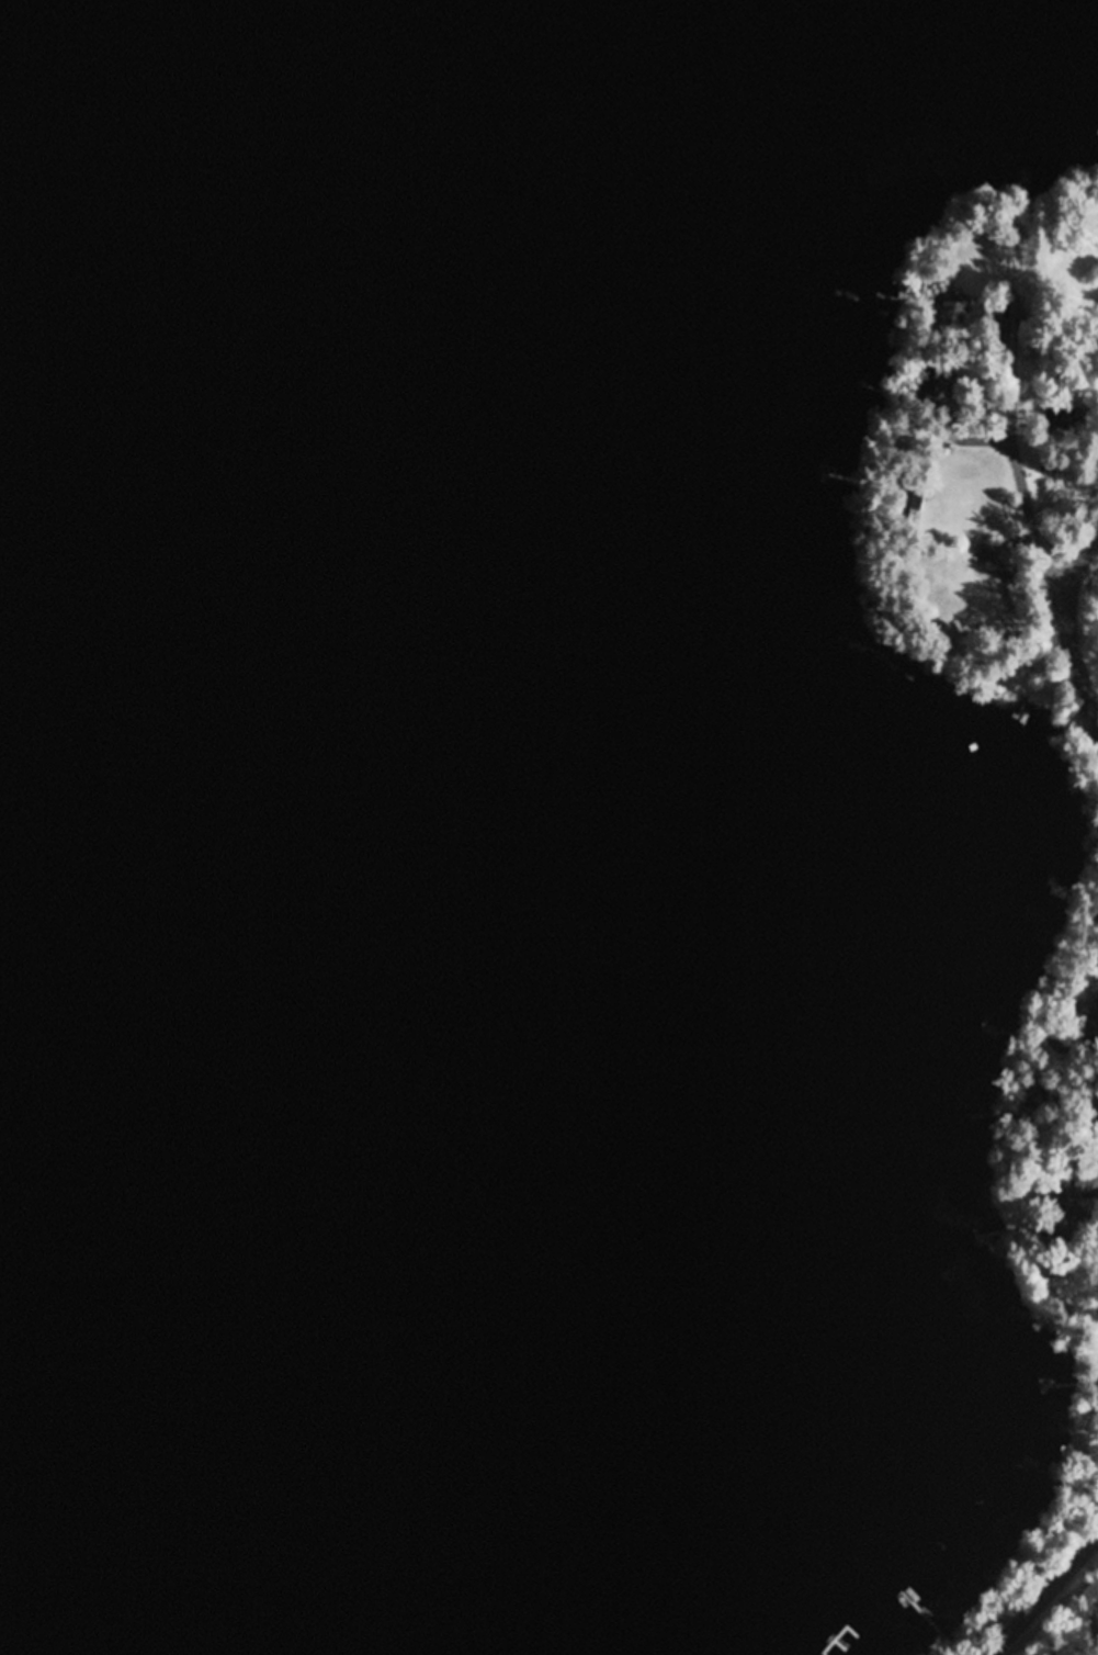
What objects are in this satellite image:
building: (935, 384)
building: (1066, 418)
building: (1056, 461)
road: (1018, 496)
road: (1068, 634)
road: (1041, 1598)

